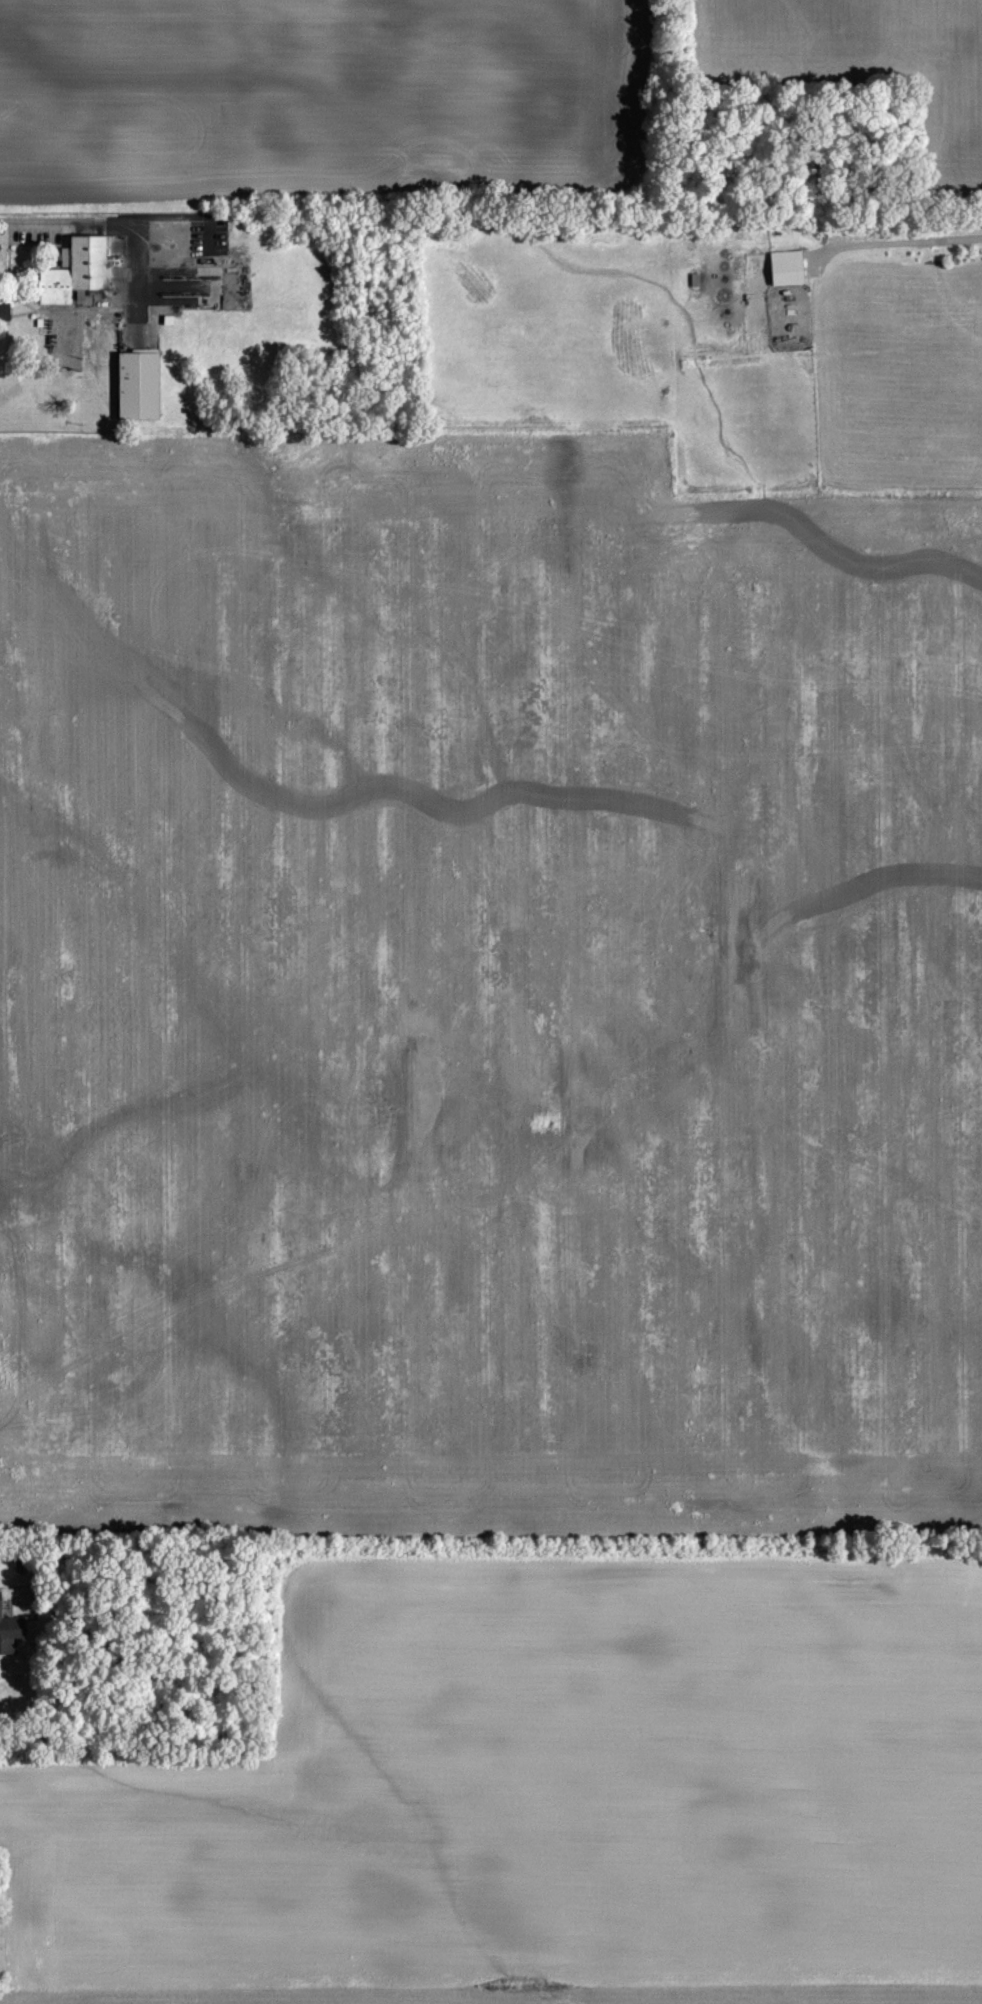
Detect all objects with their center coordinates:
road: (66, 219)
road: (899, 243)
building: (783, 266)
building: (70, 269)
building: (132, 384)
building: (9, 1632)

